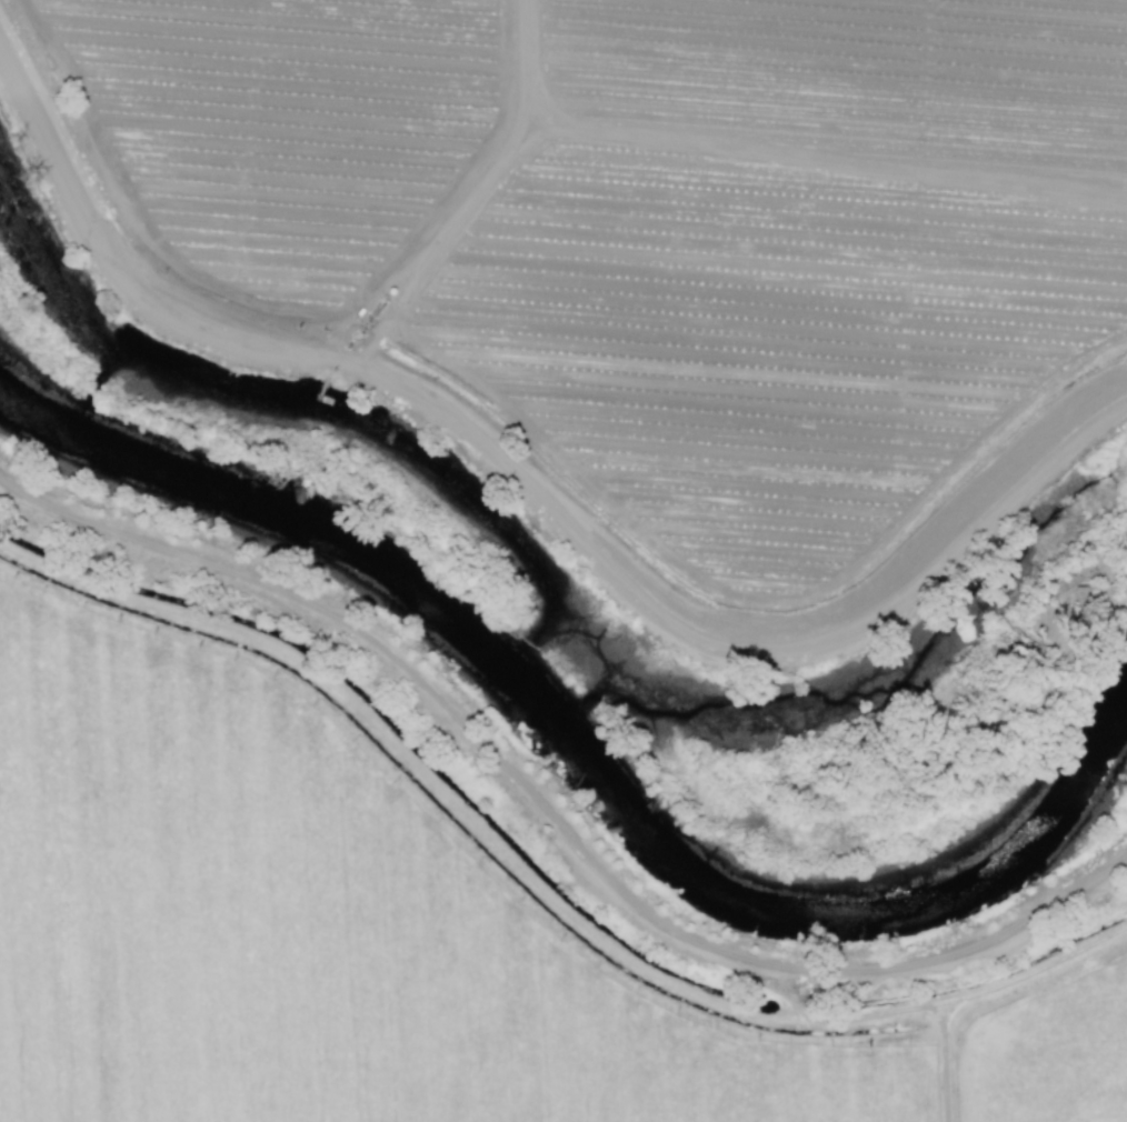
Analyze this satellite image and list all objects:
road: (536, 475)
river: (557, 710)
road: (549, 823)
road: (547, 869)

